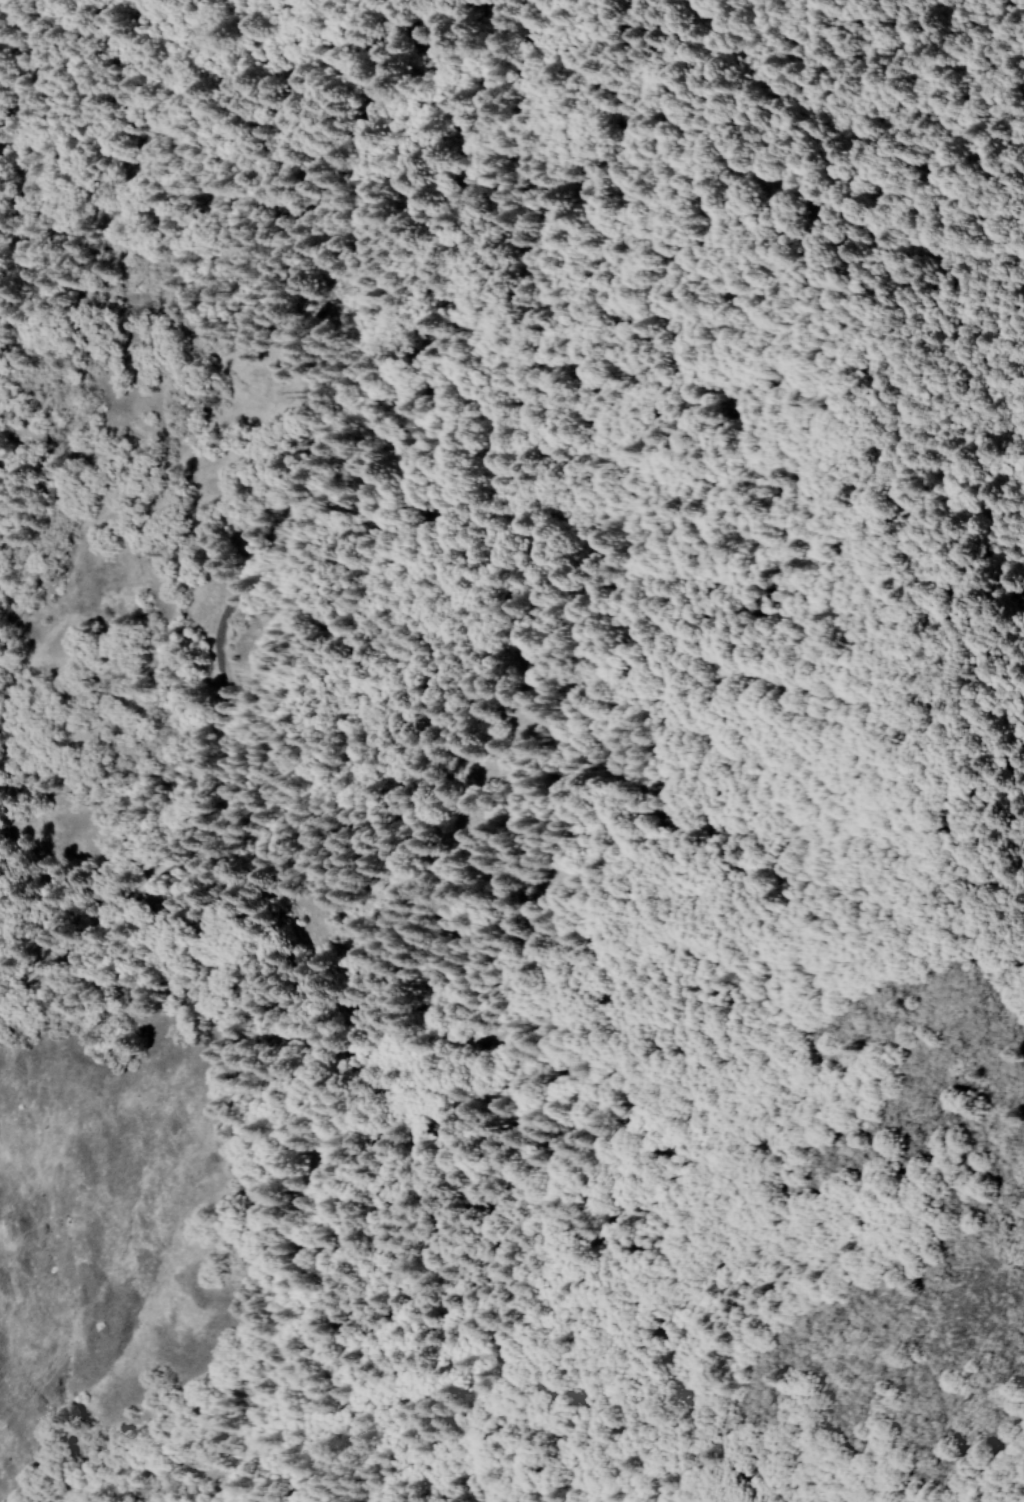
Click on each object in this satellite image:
road: (289, 533)

